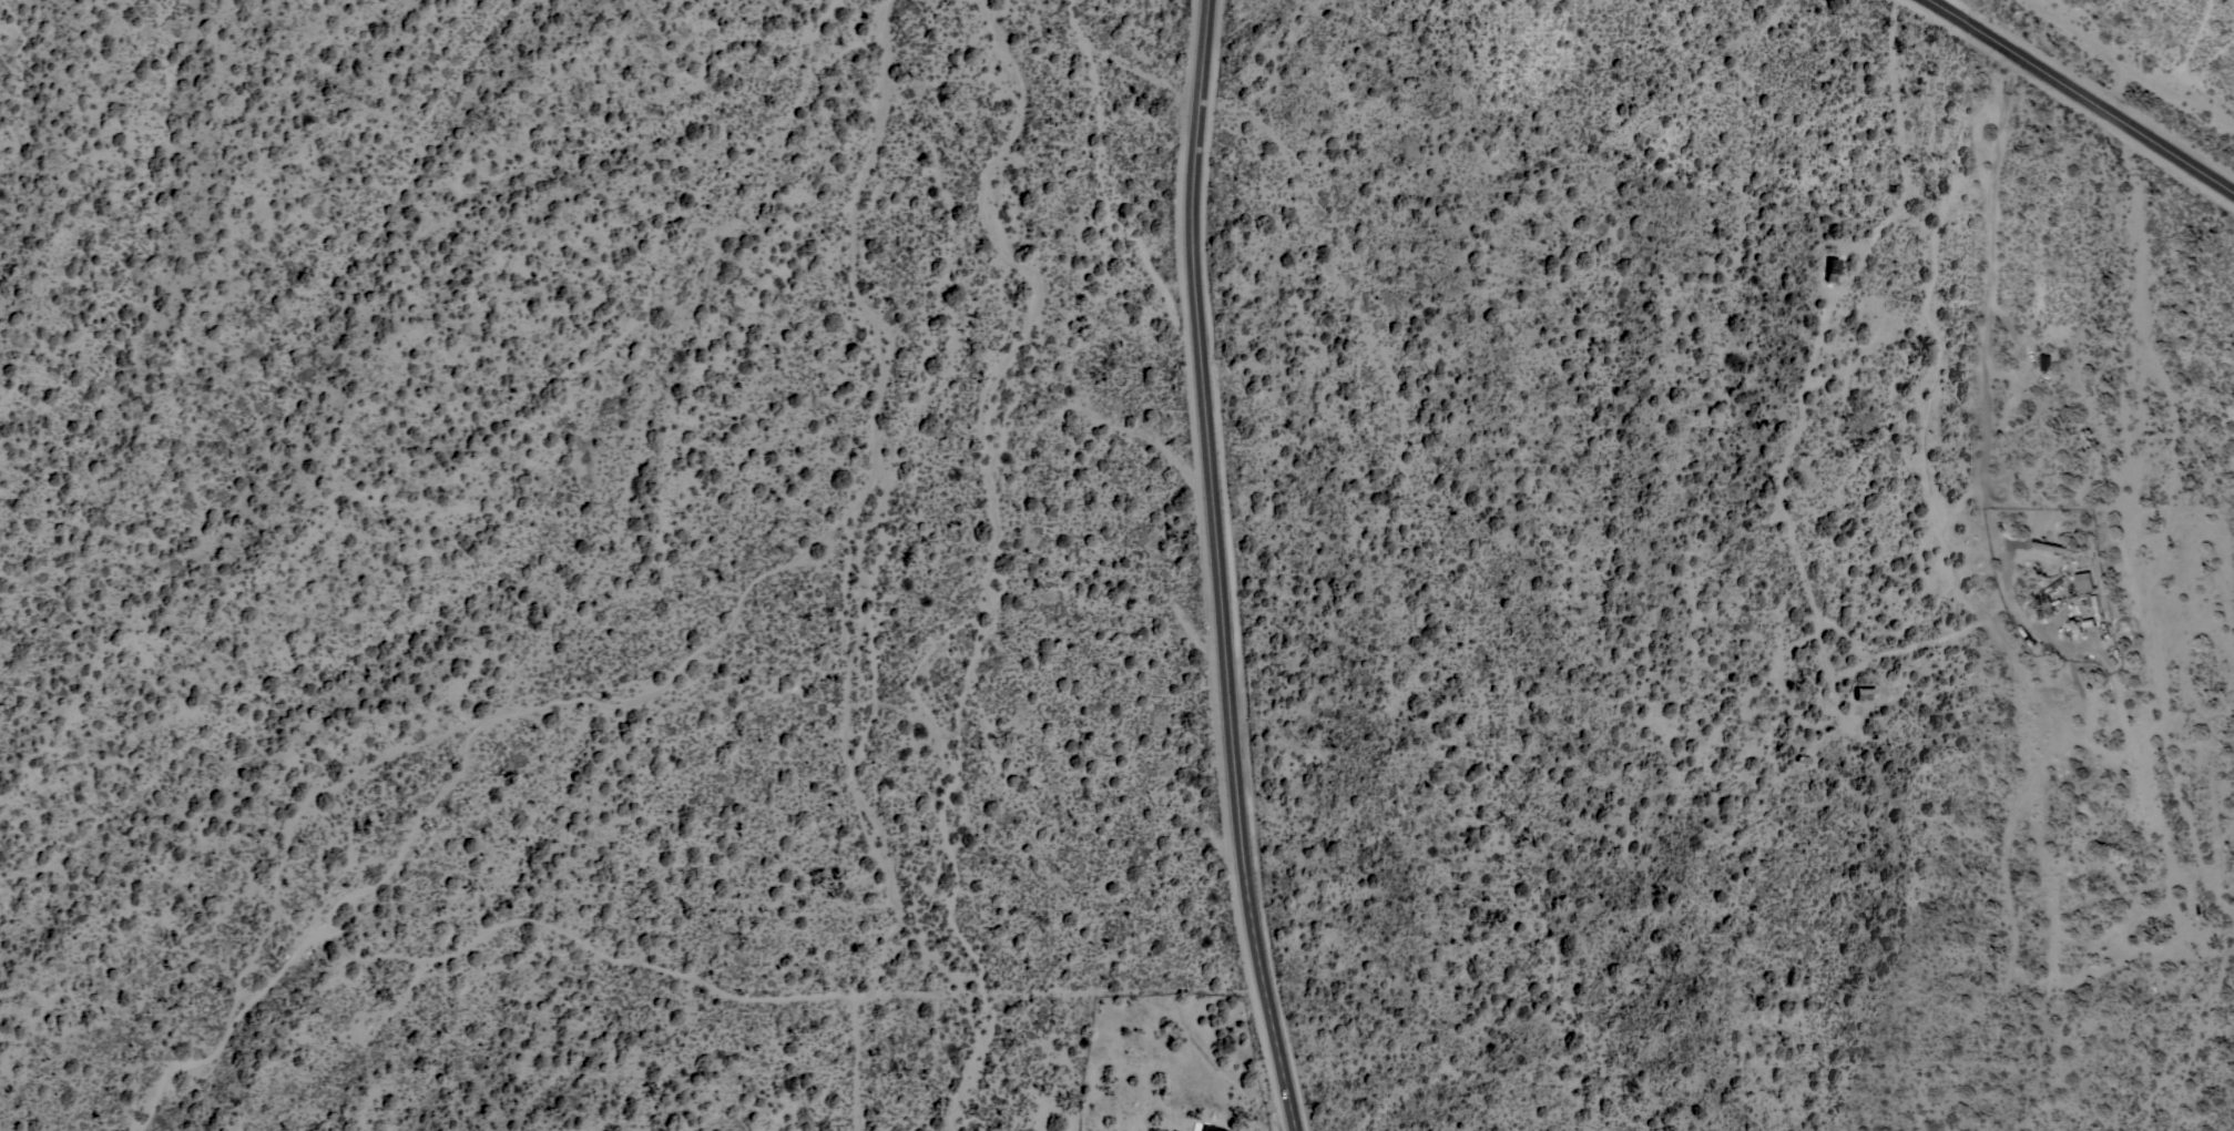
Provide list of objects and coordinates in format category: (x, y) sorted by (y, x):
road: (2083, 92)
building: (1829, 268)
road: (1992, 315)
building: (2046, 361)
road: (1201, 570)
building: (2084, 582)
building: (2095, 605)
building: (1861, 692)
building: (1205, 1125)

